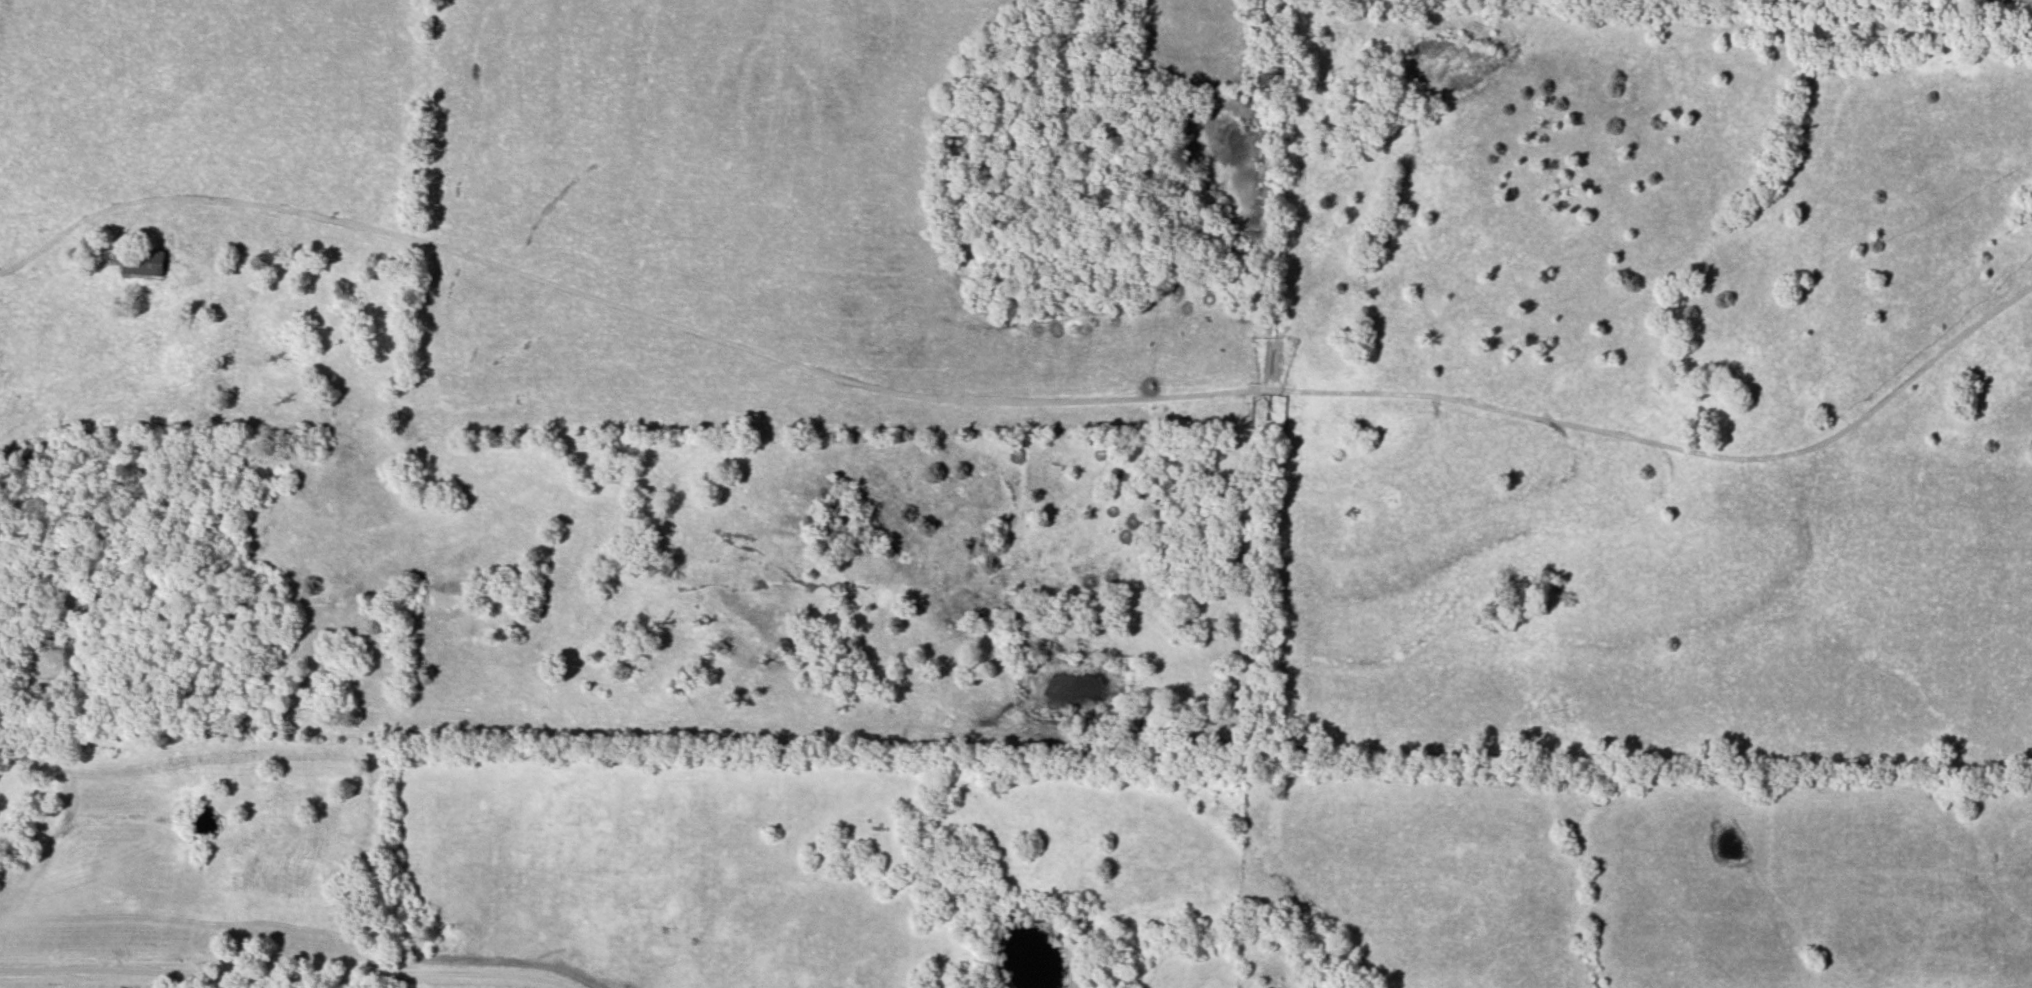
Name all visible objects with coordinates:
building: (142, 263)
road: (1021, 401)
road: (288, 976)

